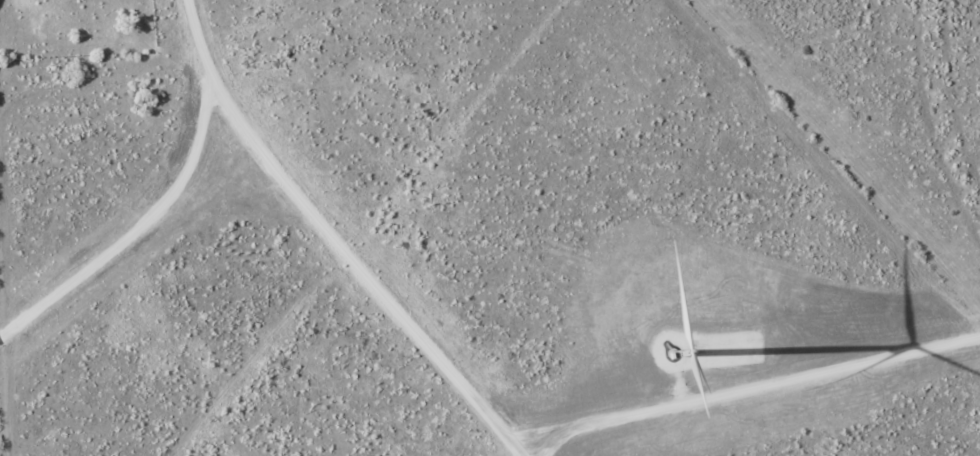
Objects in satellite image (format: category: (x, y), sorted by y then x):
road: (332, 237)
wind turbine: (685, 341)

